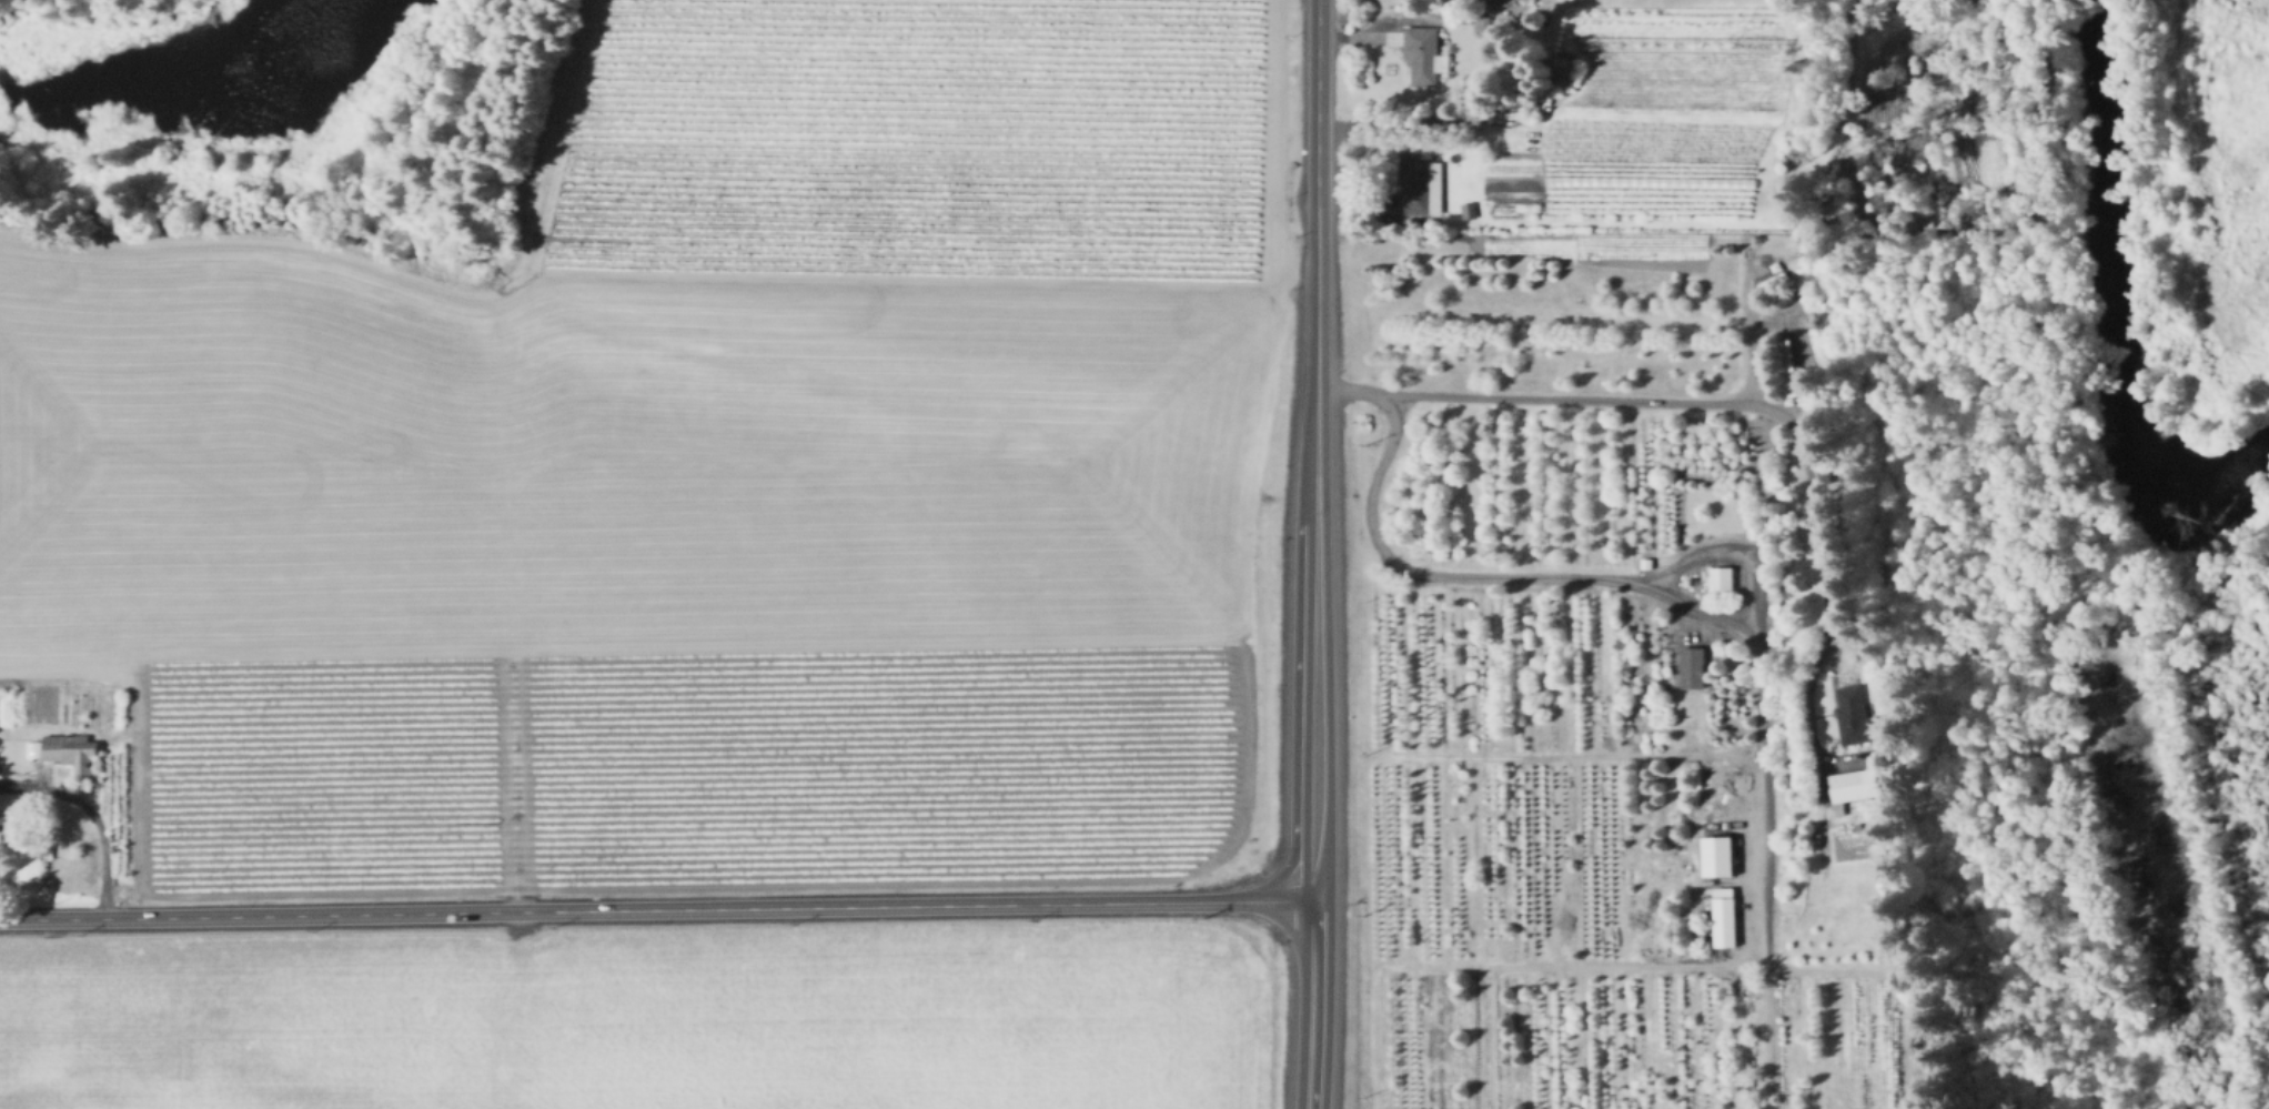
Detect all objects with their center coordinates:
building: (1500, 1)
building: (1480, 21)
building: (1425, 54)
building: (1564, 74)
building: (1418, 180)
building: (1504, 205)
building: (1468, 210)
river: (2104, 292)
building: (1788, 367)
road: (1736, 404)
crop: (689, 477)
road: (1318, 554)
building: (1646, 564)
road: (1587, 578)
building: (1722, 582)
building: (1694, 666)
building: (1857, 716)
building: (69, 749)
road: (1582, 753)
building: (1855, 785)
road: (1762, 789)
road: (90, 814)
building: (23, 850)
building: (1715, 854)
road: (1289, 864)
road: (658, 908)
building: (1725, 917)
road: (1707, 966)
crop: (651, 1019)

